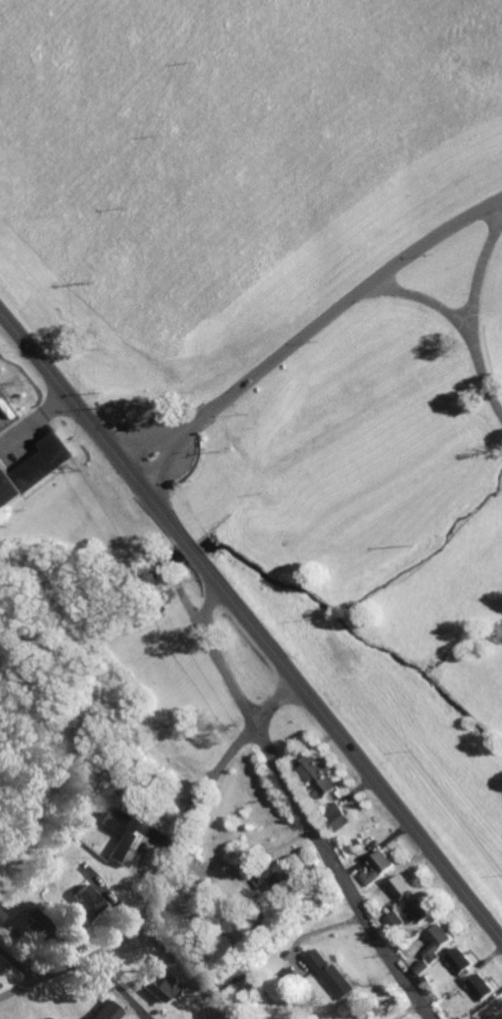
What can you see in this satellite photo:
road: (480, 268)
road: (420, 296)
road: (312, 328)
road: (480, 372)
building: (33, 471)
road: (251, 622)
building: (175, 743)
building: (132, 748)
building: (104, 751)
building: (318, 775)
building: (163, 782)
building: (97, 783)
road: (303, 806)
building: (337, 815)
building: (125, 836)
building: (358, 841)
building: (44, 857)
building: (193, 857)
road: (169, 864)
building: (379, 867)
building: (275, 875)
building: (402, 886)
building: (85, 902)
building: (419, 911)
building: (2, 913)
building: (286, 918)
building: (395, 919)
building: (41, 926)
building: (439, 940)
building: (461, 959)
building: (424, 966)
building: (334, 973)
building: (246, 974)
building: (292, 977)
building: (239, 978)
building: (427, 983)
building: (160, 985)
building: (481, 986)
building: (108, 1011)

